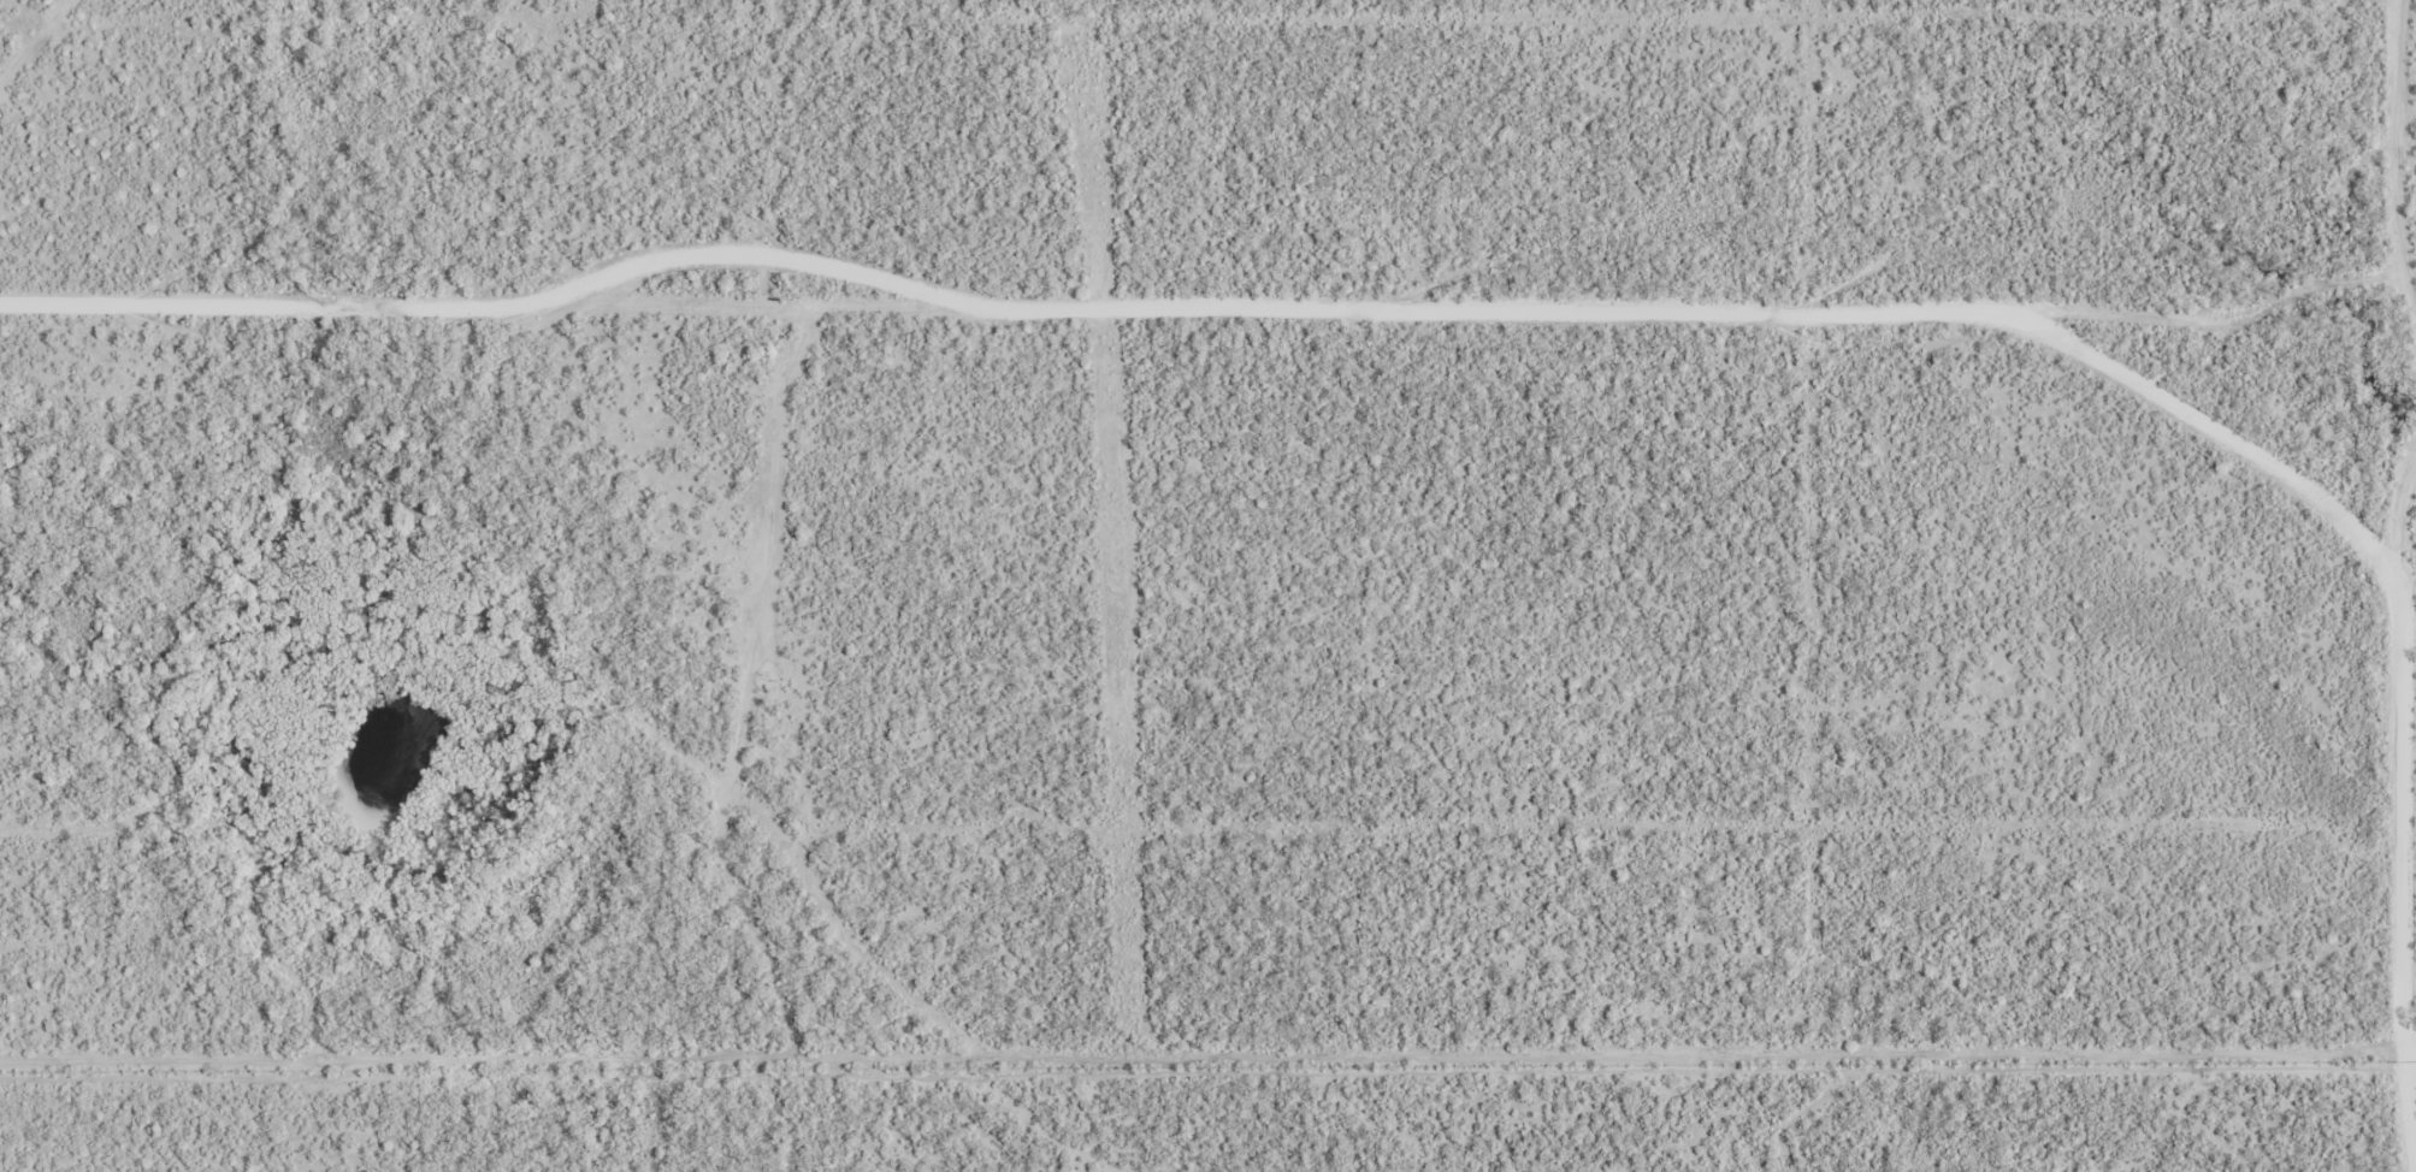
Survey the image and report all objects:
road: (2399, 154)
road: (2399, 817)

